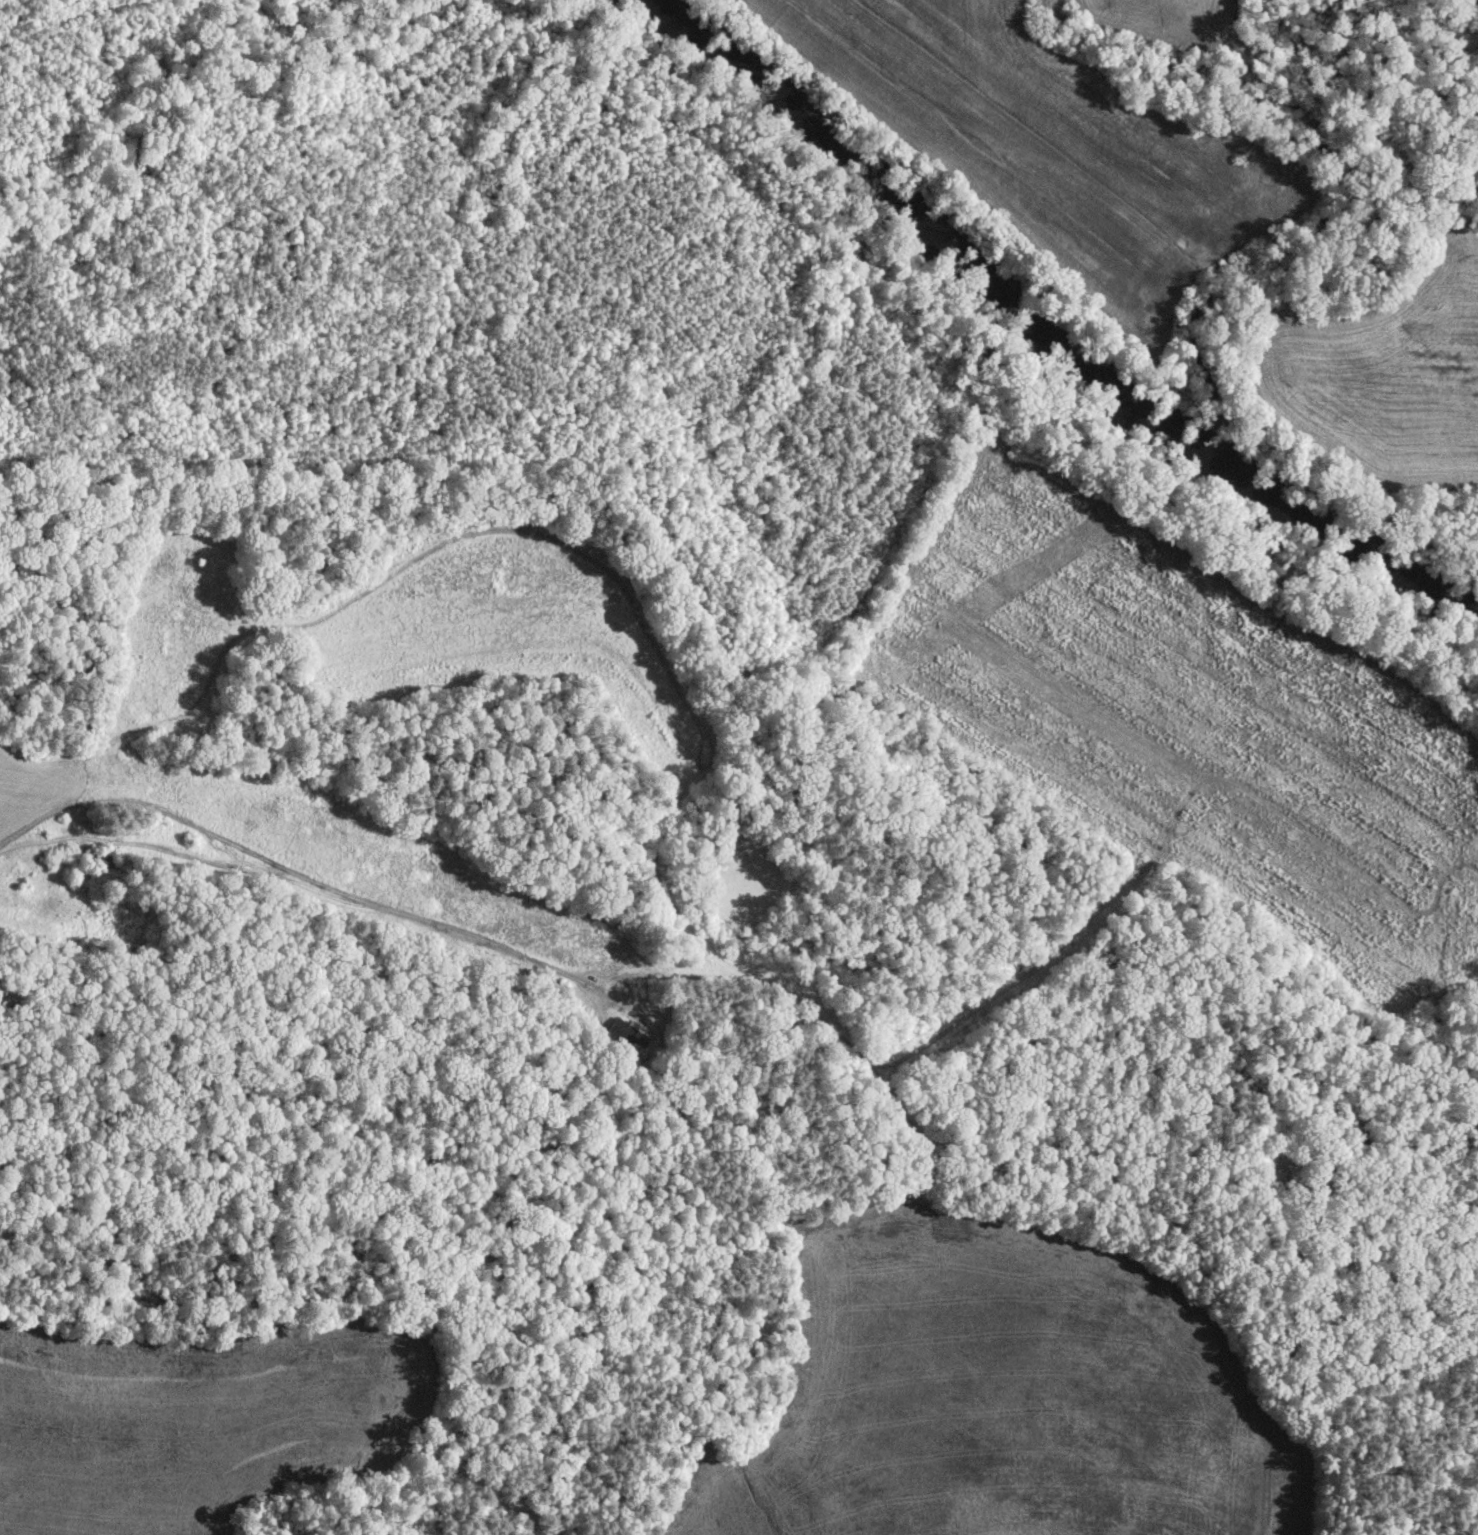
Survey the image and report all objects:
river: (1024, 330)
building: (623, 1030)

